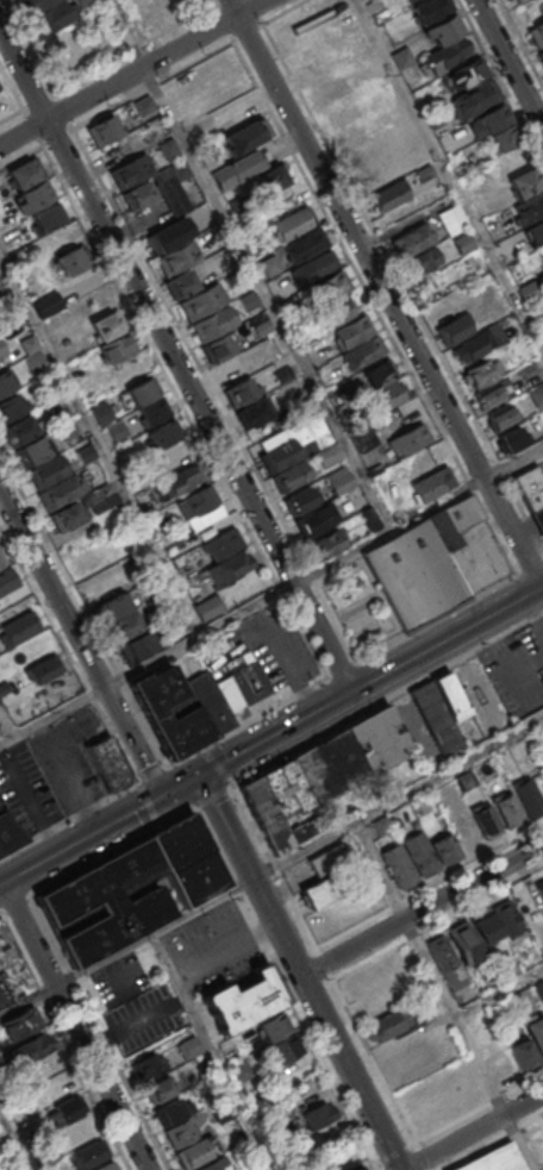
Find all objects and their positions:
building: (408, 0)
building: (514, 0)
building: (83, 2)
road: (217, 2)
building: (31, 6)
building: (435, 7)
building: (52, 18)
building: (443, 29)
building: (536, 33)
building: (447, 54)
building: (541, 55)
building: (401, 56)
road: (39, 63)
road: (106, 63)
road: (188, 63)
road: (508, 64)
road: (132, 71)
building: (410, 74)
building: (466, 75)
road: (500, 80)
road: (12, 87)
building: (330, 89)
building: (475, 98)
building: (144, 105)
building: (494, 117)
building: (104, 130)
building: (246, 134)
building: (505, 137)
building: (168, 148)
building: (364, 151)
building: (237, 168)
building: (180, 169)
building: (131, 170)
building: (423, 171)
building: (25, 173)
building: (376, 173)
road: (449, 175)
building: (274, 176)
building: (524, 181)
building: (174, 194)
building: (141, 195)
building: (388, 195)
building: (33, 198)
building: (235, 204)
building: (529, 207)
building: (46, 218)
building: (451, 219)
building: (291, 224)
building: (536, 232)
building: (170, 233)
building: (10, 240)
building: (411, 240)
building: (462, 242)
building: (302, 245)
building: (542, 245)
building: (542, 256)
building: (179, 257)
building: (70, 259)
building: (420, 262)
road: (248, 264)
building: (269, 264)
building: (316, 265)
building: (181, 284)
building: (327, 287)
road: (385, 292)
building: (248, 300)
building: (202, 301)
building: (330, 314)
building: (213, 321)
building: (107, 325)
building: (261, 326)
building: (454, 329)
building: (350, 331)
building: (65, 340)
building: (30, 343)
building: (472, 345)
building: (116, 348)
building: (218, 348)
building: (2, 351)
building: (361, 352)
building: (35, 362)
road: (176, 362)
building: (526, 368)
building: (379, 373)
building: (479, 373)
building: (282, 374)
building: (7, 382)
building: (48, 383)
building: (143, 390)
building: (242, 390)
building: (492, 394)
building: (536, 394)
building: (385, 396)
building: (11, 406)
building: (154, 411)
building: (256, 411)
building: (101, 412)
building: (60, 413)
building: (501, 417)
building: (19, 430)
building: (67, 430)
building: (116, 430)
building: (316, 430)
building: (162, 434)
building: (512, 437)
building: (363, 438)
building: (410, 438)
road: (100, 446)
building: (32, 451)
building: (86, 453)
building: (175, 455)
building: (279, 455)
building: (326, 455)
building: (426, 459)
building: (46, 470)
building: (289, 475)
building: (339, 478)
building: (176, 481)
building: (432, 483)
building: (60, 490)
building: (99, 492)
building: (532, 492)
building: (201, 499)
building: (298, 501)
building: (65, 515)
building: (368, 517)
building: (317, 518)
building: (223, 542)
building: (327, 544)
building: (1, 557)
building: (89, 562)
building: (422, 563)
building: (227, 569)
building: (7, 578)
road: (270, 595)
building: (12, 603)
building: (112, 606)
building: (207, 606)
building: (125, 625)
building: (19, 626)
road: (276, 642)
road: (81, 644)
building: (137, 646)
road: (355, 662)
building: (45, 668)
building: (248, 676)
road: (372, 681)
building: (4, 687)
building: (449, 695)
road: (387, 697)
building: (208, 701)
building: (169, 709)
building: (435, 717)
road: (6, 726)
building: (375, 739)
building: (110, 763)
road: (217, 765)
building: (323, 768)
building: (485, 768)
road: (152, 772)
traffic signals: (199, 775)
building: (463, 780)
road: (213, 795)
traffic signals: (162, 796)
building: (528, 796)
building: (291, 800)
road: (150, 802)
building: (507, 809)
building: (267, 813)
road: (69, 819)
building: (486, 820)
building: (380, 825)
road: (99, 830)
building: (7, 833)
building: (445, 847)
road: (112, 851)
building: (419, 853)
building: (187, 859)
building: (327, 861)
building: (399, 864)
road: (271, 868)
road: (429, 884)
building: (539, 886)
building: (320, 891)
building: (108, 901)
road: (14, 902)
road: (422, 909)
road: (0, 912)
building: (506, 916)
road: (437, 919)
road: (304, 925)
building: (485, 925)
building: (464, 943)
road: (224, 949)
building: (447, 961)
building: (12, 970)
road: (299, 972)
building: (539, 989)
road: (499, 991)
road: (444, 995)
building: (245, 1001)
building: (21, 1022)
building: (391, 1022)
building: (276, 1025)
road: (76, 1026)
building: (536, 1032)
building: (191, 1046)
building: (32, 1047)
building: (285, 1047)
road: (212, 1051)
building: (522, 1052)
road: (374, 1060)
building: (149, 1066)
building: (241, 1070)
building: (158, 1088)
road: (479, 1107)
building: (68, 1109)
building: (170, 1110)
building: (224, 1112)
building: (320, 1114)
road: (473, 1131)
building: (181, 1133)
road: (15, 1139)
road: (491, 1141)
building: (195, 1152)
building: (90, 1155)
building: (338, 1158)
building: (494, 1159)
building: (217, 1164)
building: (107, 1165)
building: (55, 1169)
building: (360, 1169)

